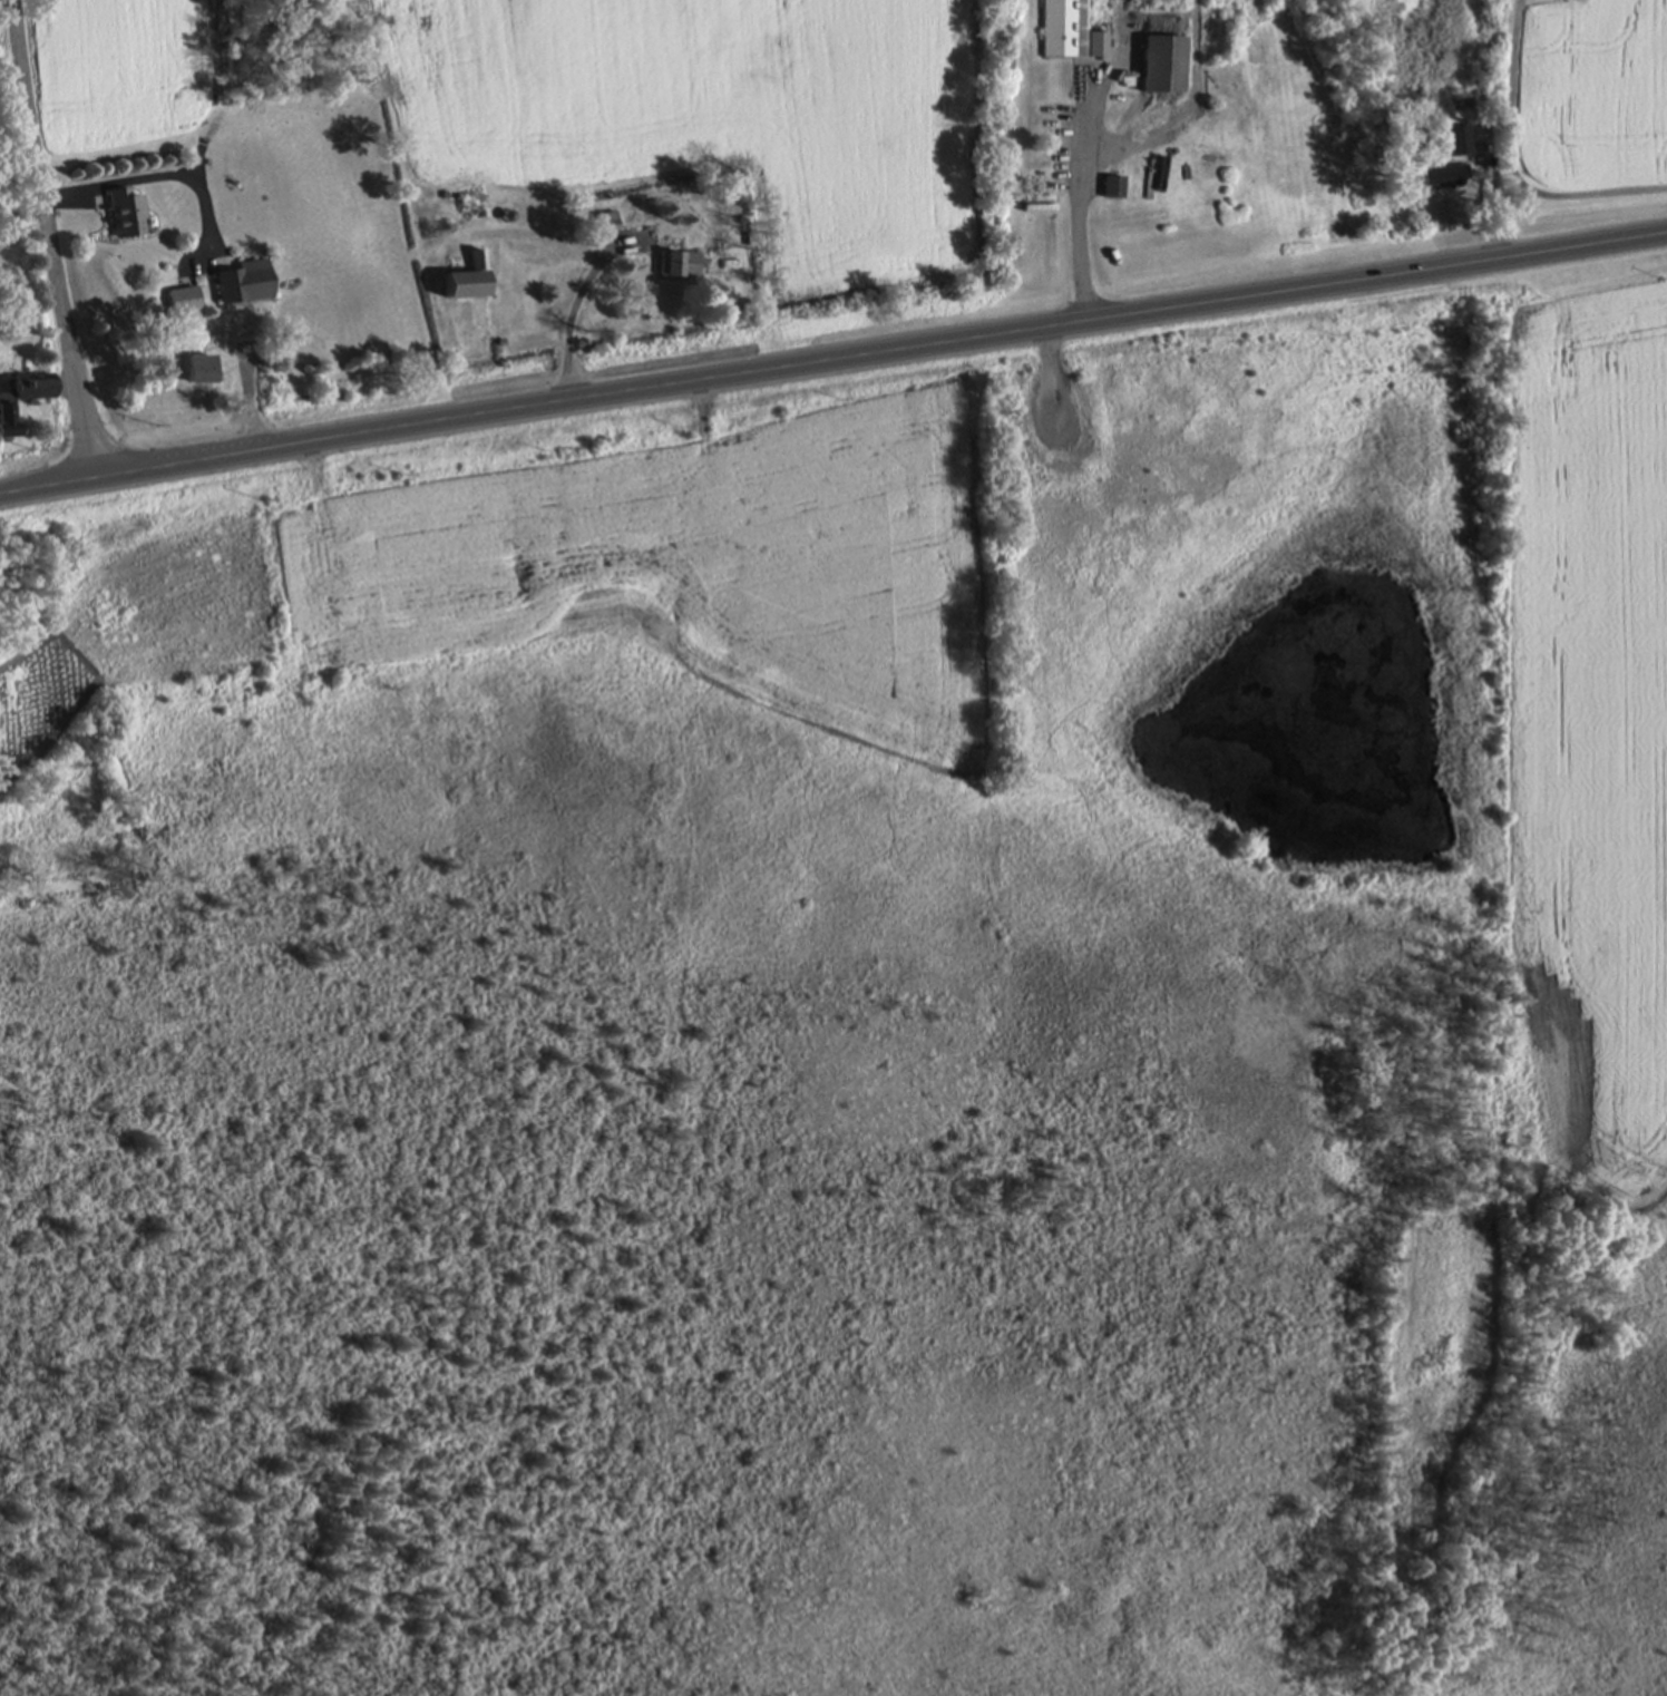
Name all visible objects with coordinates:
building: (1066, 30)
building: (1164, 69)
building: (1458, 145)
road: (144, 172)
building: (1445, 181)
building: (1115, 191)
building: (474, 205)
road: (1082, 206)
building: (126, 216)
building: (610, 225)
road: (539, 230)
road: (47, 242)
building: (681, 267)
building: (468, 282)
building: (245, 285)
building: (184, 303)
road: (566, 310)
road: (832, 363)
building: (201, 372)
building: (21, 402)

